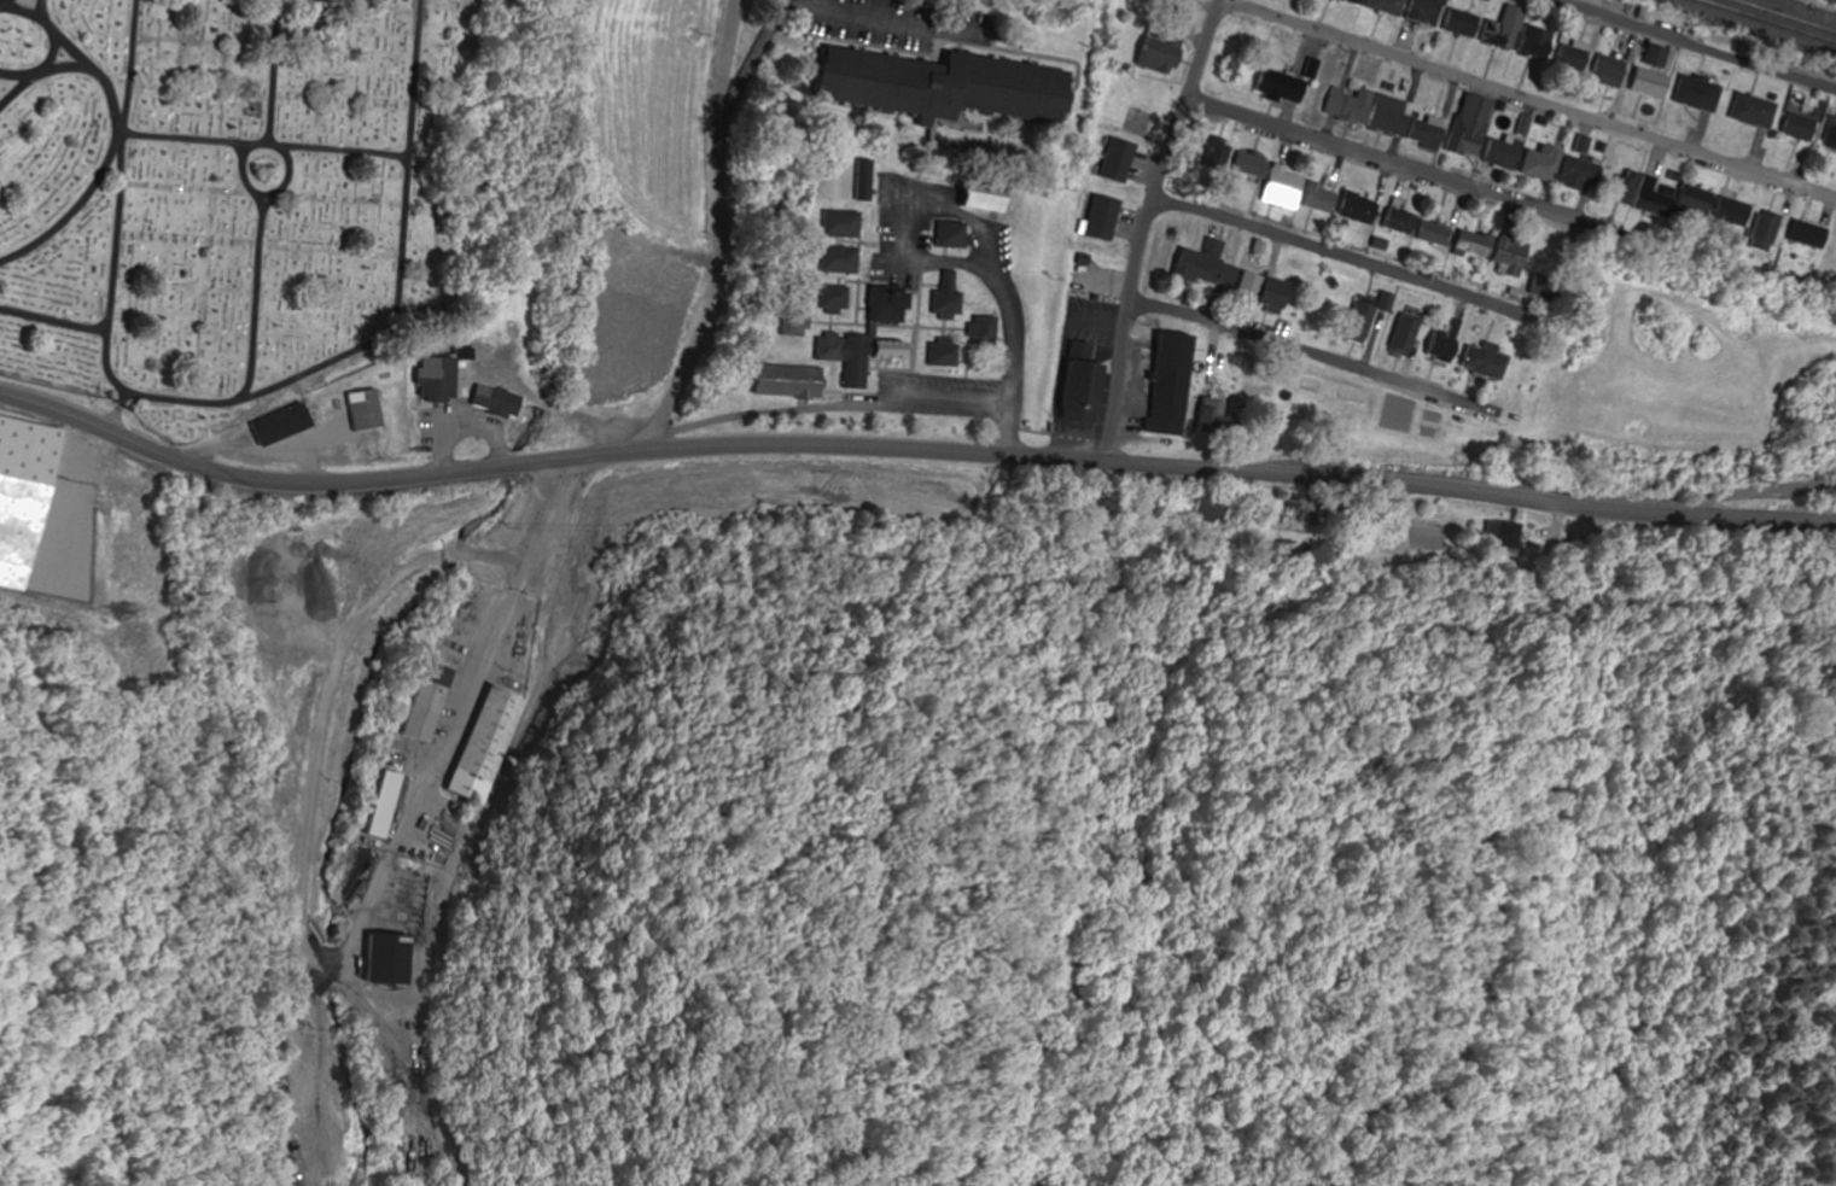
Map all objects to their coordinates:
road: (1, 1)
road: (814, 13)
road: (43, 16)
railway: (1779, 17)
railway: (1761, 23)
road: (51, 45)
road: (1691, 46)
road: (64, 66)
road: (18, 88)
road: (1527, 100)
road: (256, 141)
road: (330, 151)
road: (106, 158)
road: (1415, 173)
park: (250, 193)
road: (263, 194)
road: (1148, 227)
road: (718, 232)
road: (902, 241)
road: (1328, 256)
road: (251, 297)
road: (53, 316)
road: (1313, 355)
road: (1013, 363)
road: (226, 401)
road: (674, 450)
road: (1269, 473)
road: (316, 484)
building: (23, 496)
road: (1735, 497)
road: (352, 647)
building: (436, 703)
building: (506, 746)
building: (402, 958)

